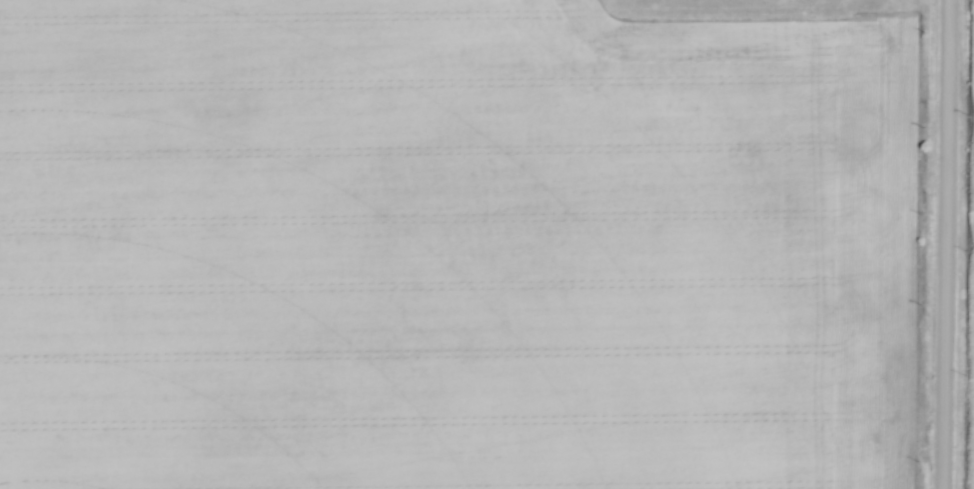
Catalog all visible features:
road: (941, 244)

